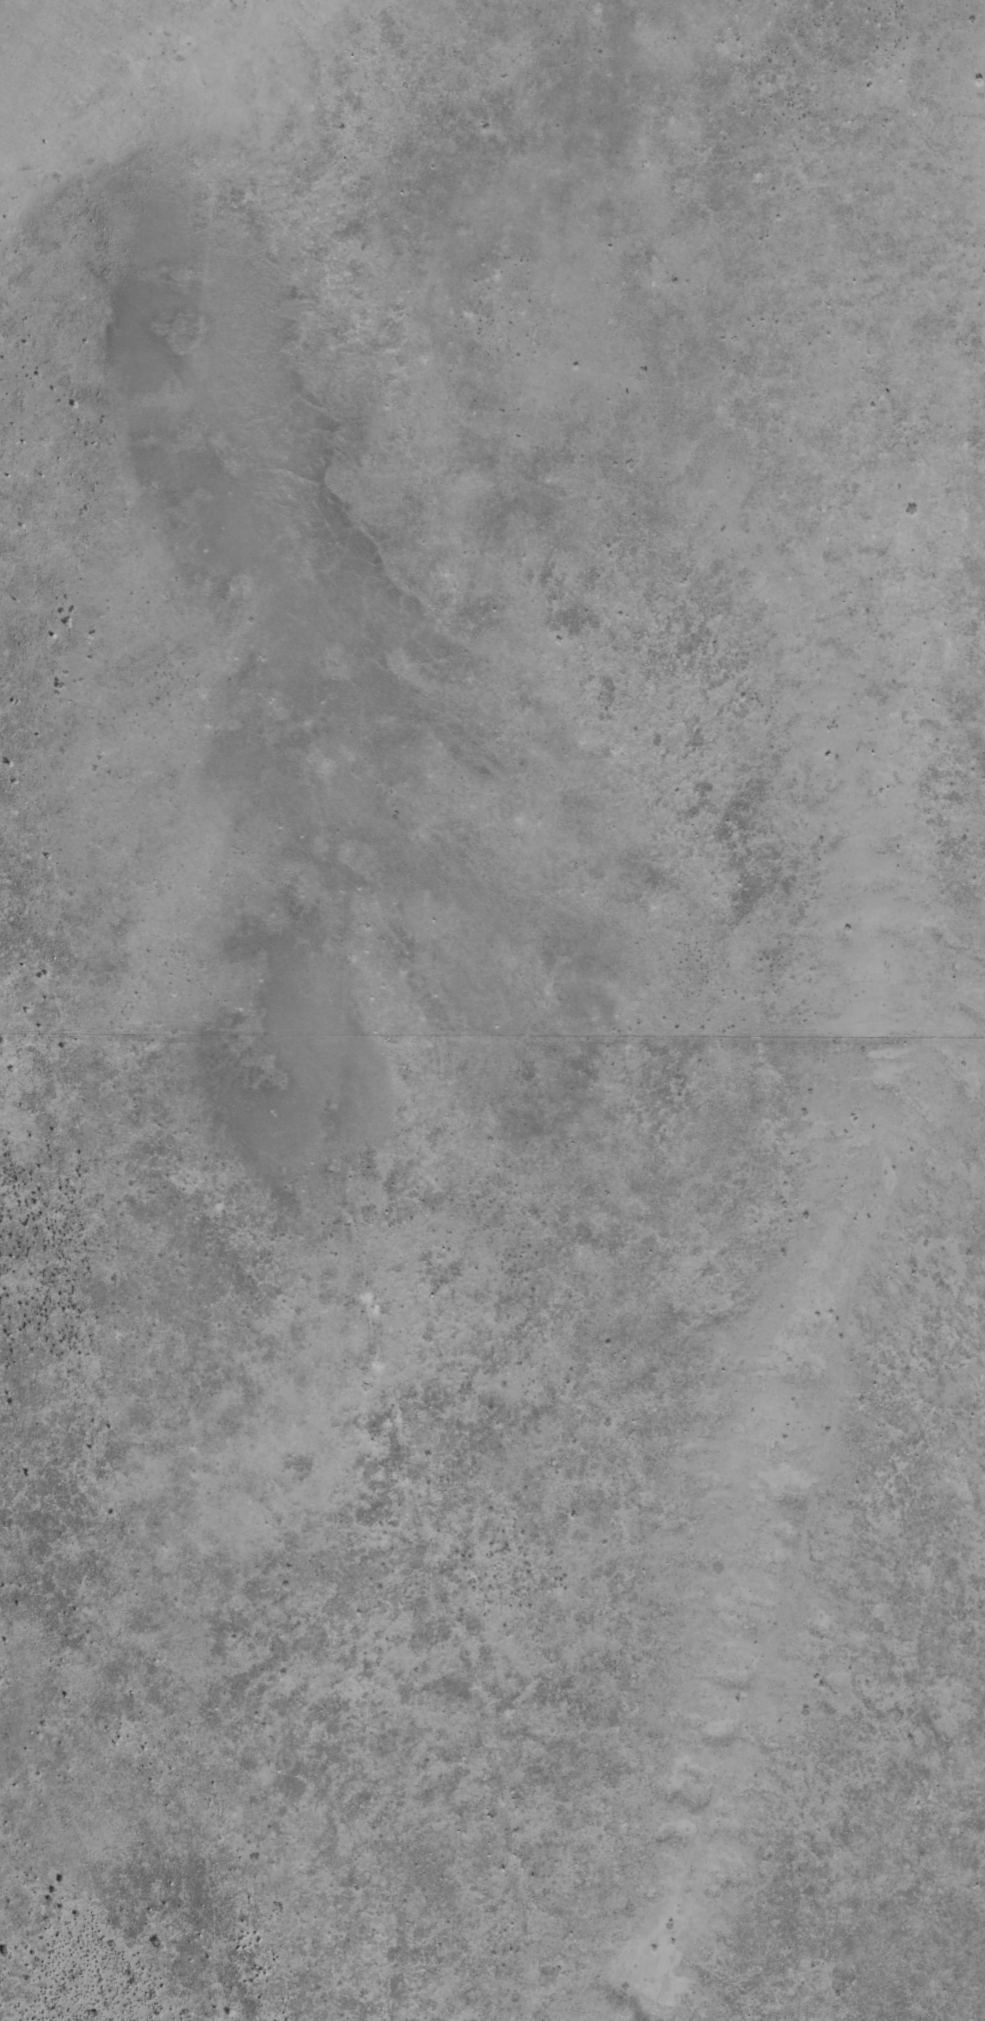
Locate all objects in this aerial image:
road: (143, 177)
road: (375, 1002)

